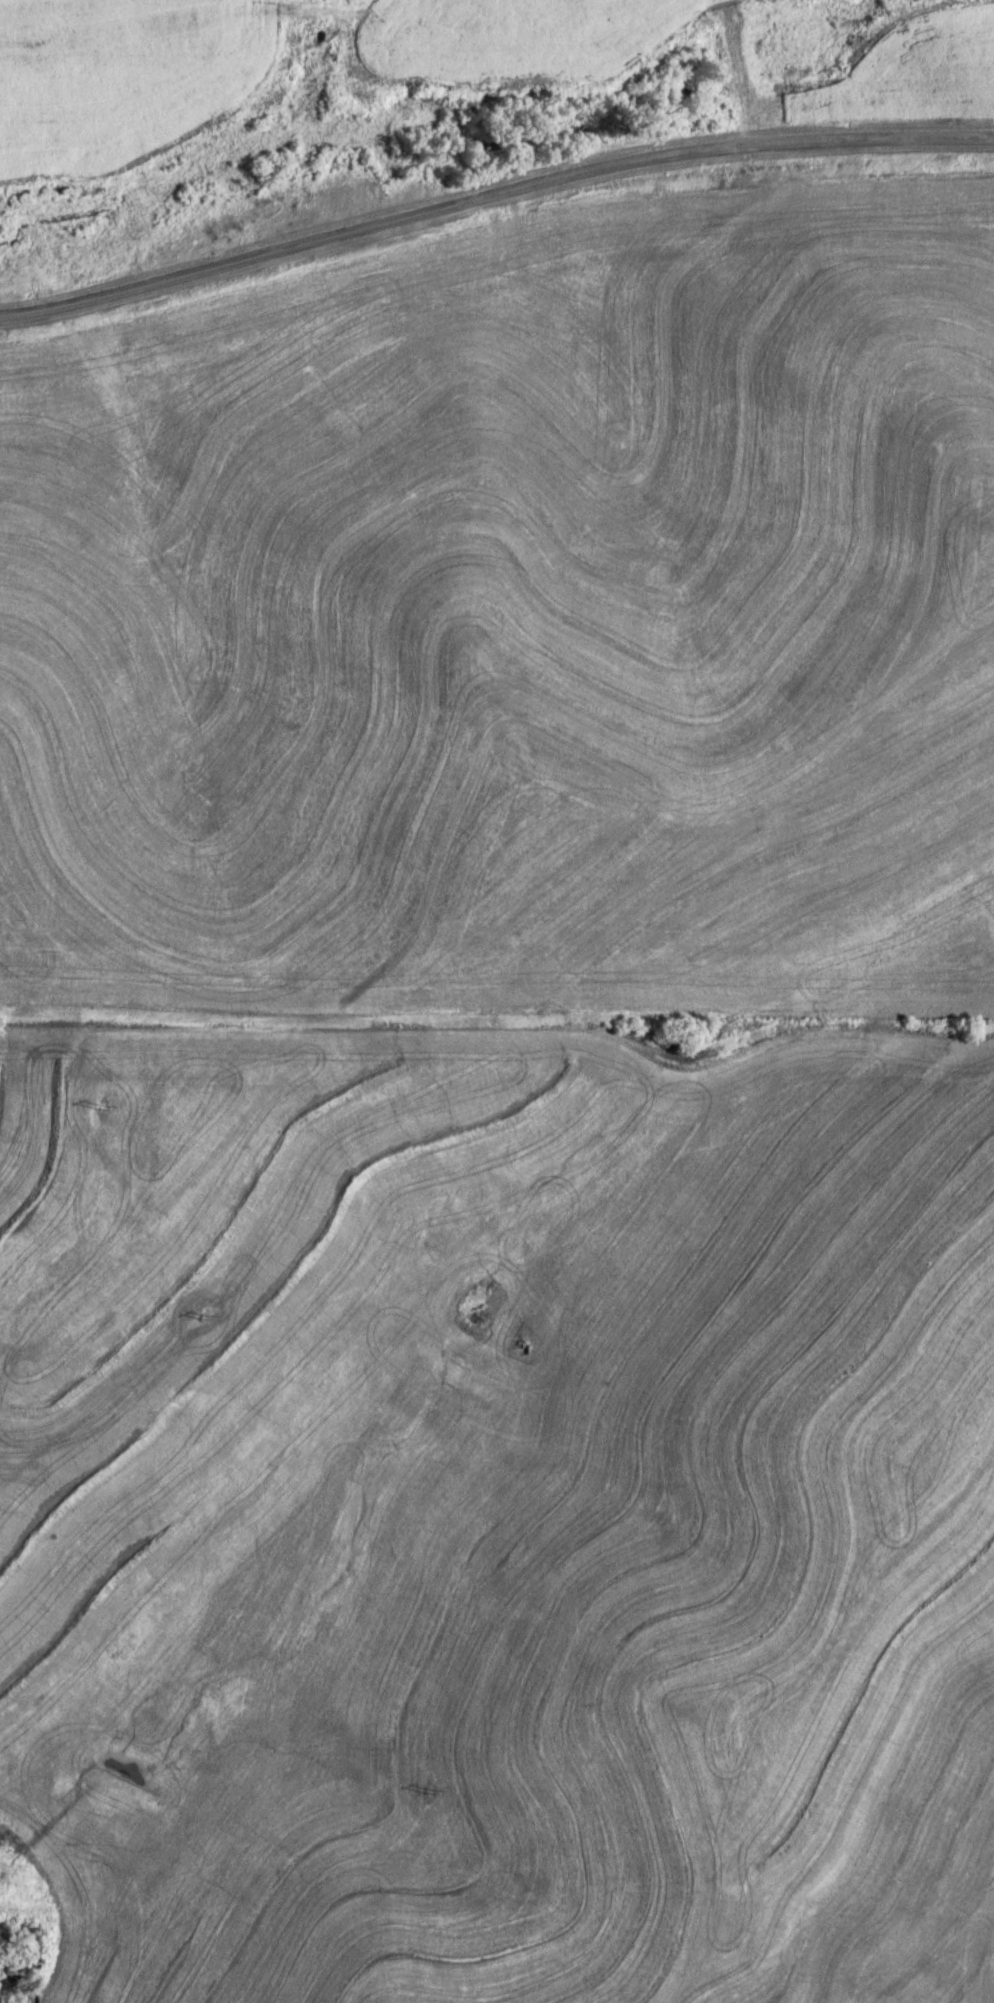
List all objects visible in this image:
road: (491, 189)

